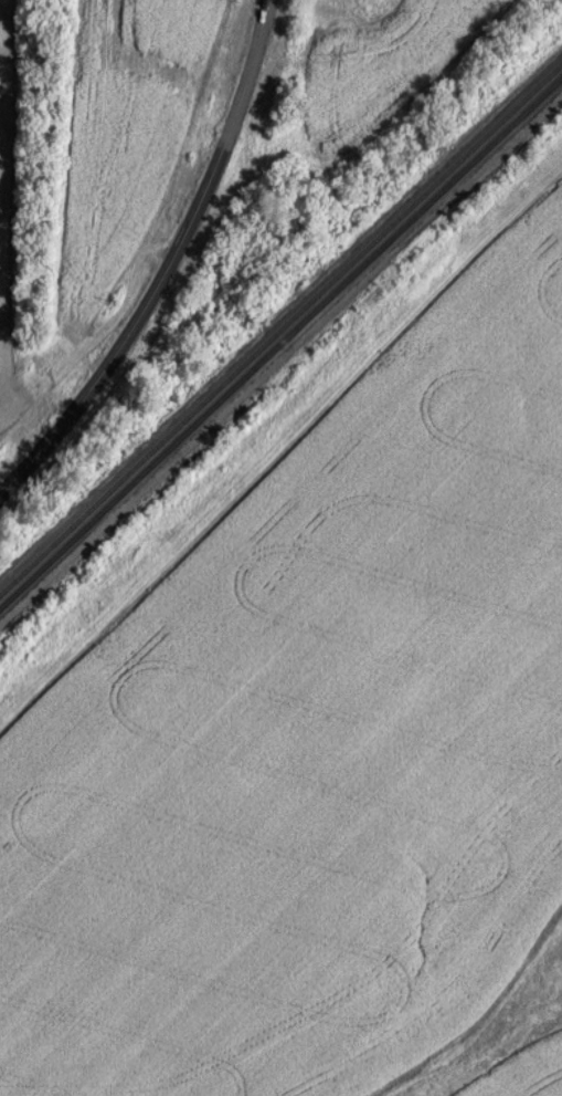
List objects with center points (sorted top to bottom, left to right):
road: (168, 265)
railway: (280, 330)
railway: (280, 343)
railway: (280, 358)
road: (497, 1044)

